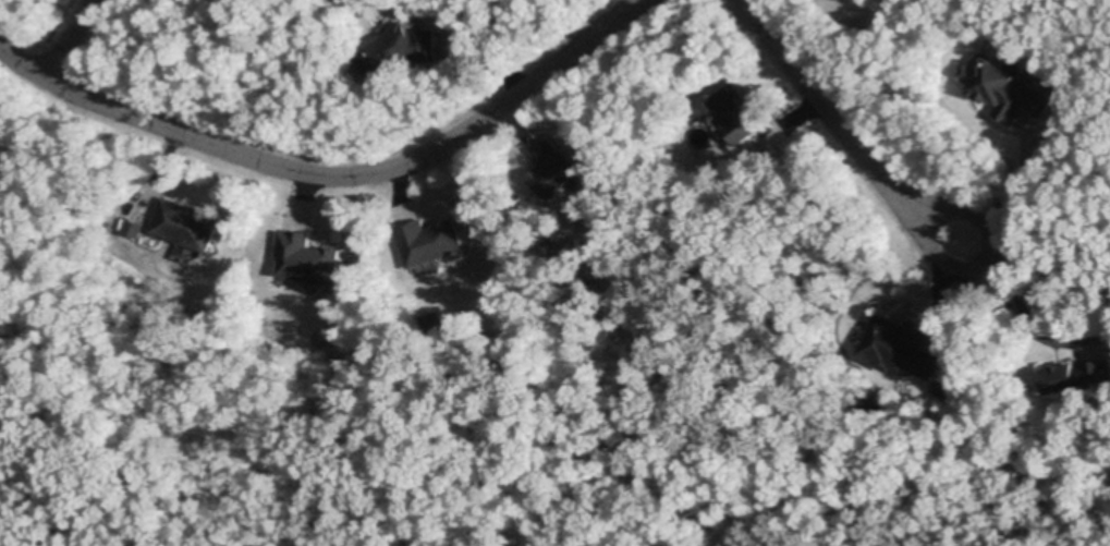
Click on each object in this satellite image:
road: (65, 38)
building: (397, 49)
building: (1004, 85)
building: (739, 112)
road: (841, 131)
building: (552, 167)
road: (334, 174)
road: (1005, 191)
building: (185, 221)
building: (133, 227)
building: (429, 240)
building: (307, 257)
building: (434, 323)
building: (279, 328)
building: (901, 344)
building: (1075, 374)
building: (941, 387)

